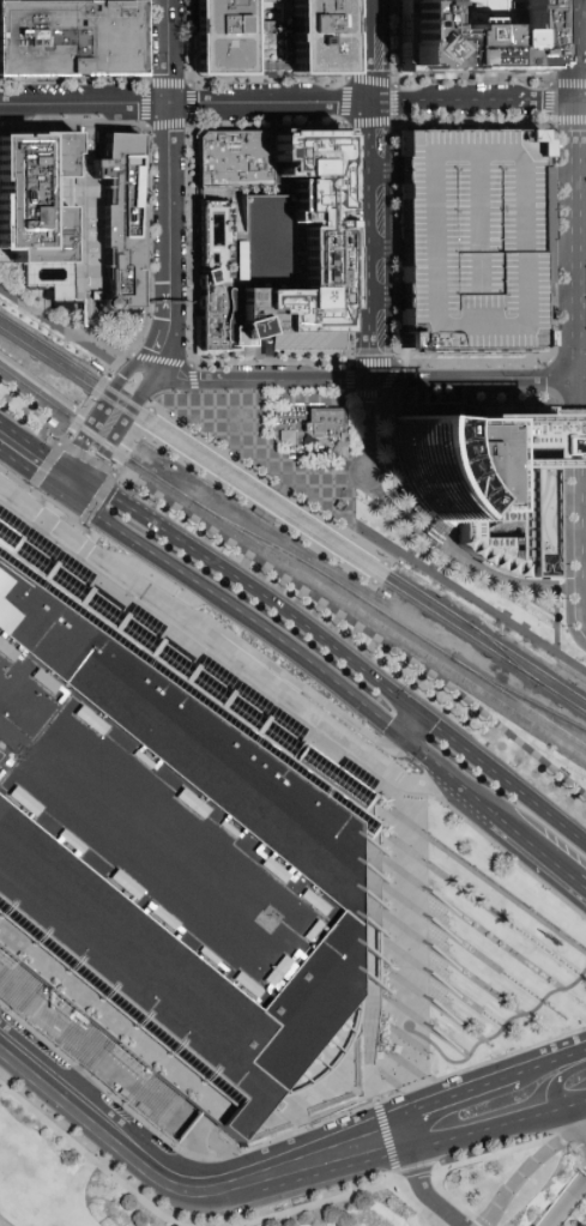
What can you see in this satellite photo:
building: (41, 1)
building: (111, 1)
building: (223, 37)
building: (315, 37)
building: (476, 37)
building: (71, 40)
road: (579, 50)
road: (169, 53)
helipad: (465, 58)
road: (550, 86)
road: (475, 102)
road: (270, 104)
road: (85, 107)
road: (568, 119)
road: (91, 121)
building: (234, 159)
road: (81, 168)
road: (370, 191)
building: (32, 195)
road: (170, 199)
building: (121, 217)
road: (146, 227)
building: (308, 235)
road: (77, 236)
building: (477, 240)
parking garage: (477, 240)
road: (580, 241)
building: (217, 296)
road: (162, 310)
park: (50, 321)
road: (58, 330)
building: (237, 333)
road: (86, 334)
road: (174, 336)
building: (308, 339)
road: (153, 344)
road: (141, 361)
road: (171, 363)
road: (147, 370)
road: (369, 383)
road: (41, 386)
road: (115, 386)
road: (279, 392)
road: (92, 399)
road: (568, 413)
road: (369, 421)
road: (120, 428)
building: (331, 429)
road: (128, 437)
road: (80, 440)
road: (25, 441)
road: (85, 460)
road: (362, 460)
road: (56, 463)
road: (44, 466)
traffic signals: (64, 467)
road: (25, 469)
road: (77, 476)
road: (56, 477)
traffic signals: (90, 484)
road: (19, 485)
building: (478, 487)
traffic signals: (50, 488)
road: (96, 488)
road: (29, 489)
railway: (268, 489)
road: (83, 495)
road: (64, 496)
road: (96, 499)
road: (579, 502)
railway: (258, 505)
traffic signals: (77, 506)
road: (52, 509)
railway: (292, 509)
building: (549, 519)
road: (42, 521)
railway: (292, 521)
road: (72, 523)
road: (79, 524)
road: (93, 537)
road: (379, 540)
road: (80, 552)
railway: (290, 567)
road: (155, 580)
railway: (336, 581)
park: (478, 591)
road: (264, 598)
road: (243, 616)
road: (556, 618)
road: (584, 628)
road: (219, 647)
railway: (497, 650)
road: (204, 660)
road: (278, 672)
railway: (528, 701)
railway: (528, 709)
traffic signals: (418, 717)
road: (410, 726)
traffic signals: (403, 738)
road: (424, 757)
road: (449, 779)
road: (502, 781)
road: (475, 801)
road: (536, 850)
building: (173, 872)
road: (580, 886)
road: (497, 892)
road: (406, 930)
road: (111, 1021)
road: (495, 1037)
road: (562, 1059)
road: (528, 1071)
road: (403, 1075)
road: (89, 1079)
road: (560, 1081)
road: (398, 1093)
road: (458, 1094)
road: (582, 1105)
road: (90, 1116)
road: (573, 1125)
road: (495, 1127)
road: (89, 1136)
road: (195, 1150)
road: (292, 1156)
road: (391, 1156)
road: (92, 1158)
road: (470, 1159)
road: (436, 1168)
road: (527, 1170)
road: (418, 1178)
road: (296, 1184)
road: (315, 1202)
road: (567, 1202)
road: (411, 1203)

